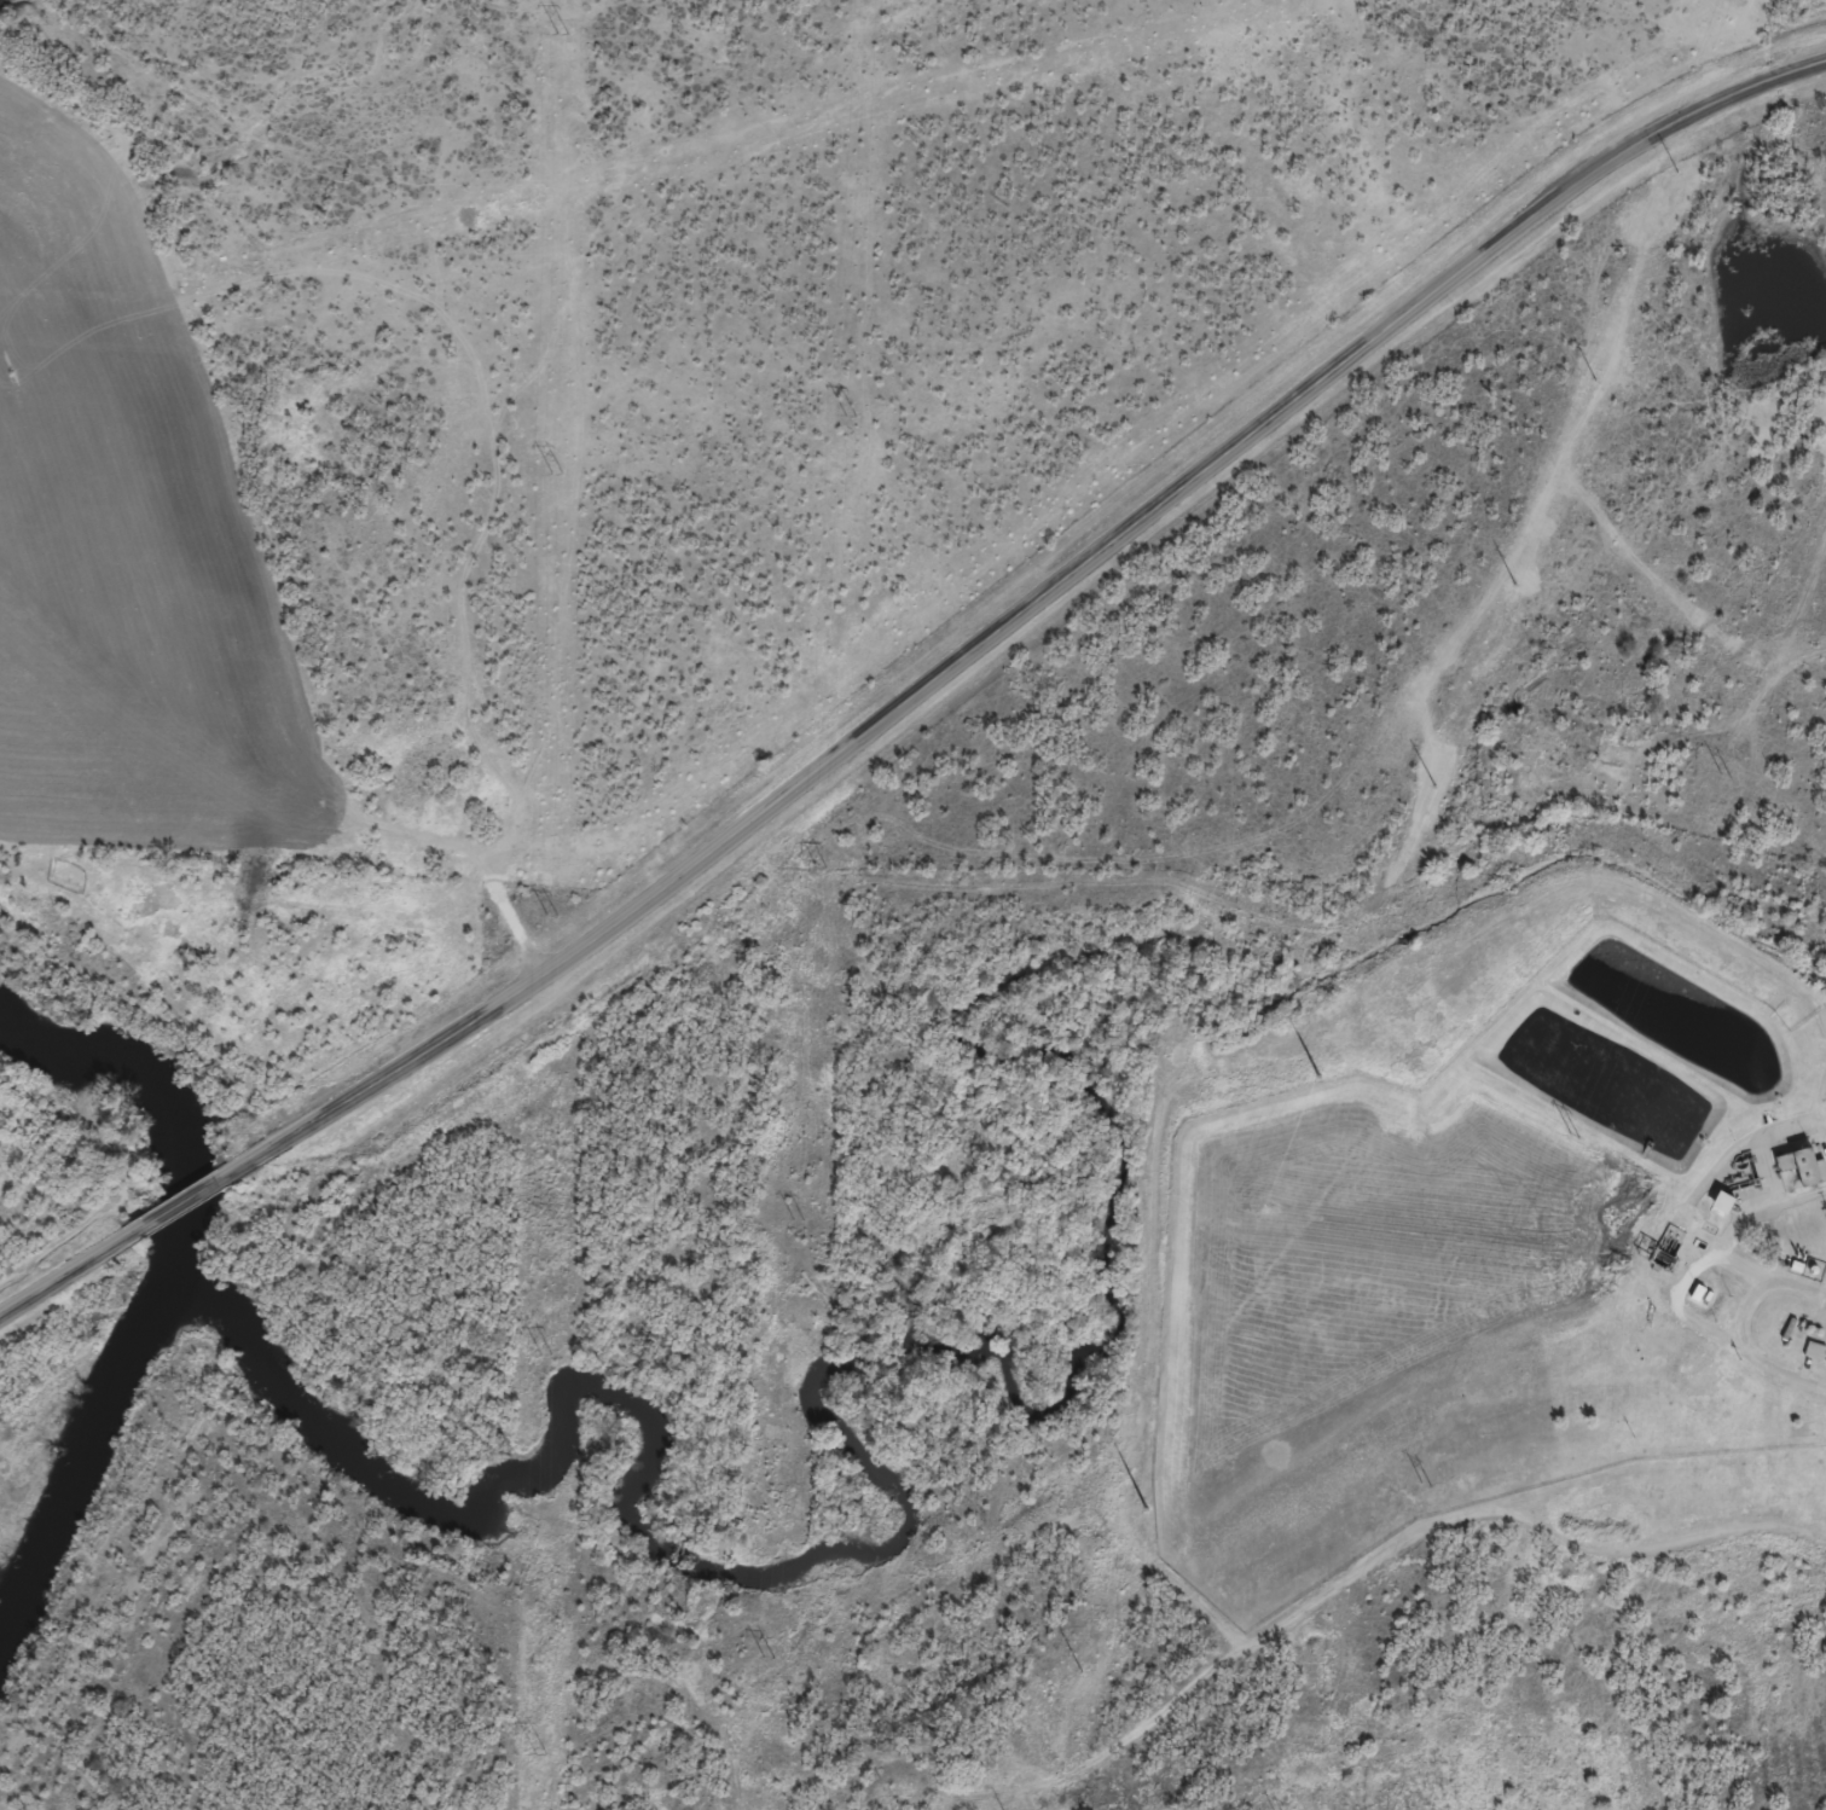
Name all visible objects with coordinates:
power tower: (561, 34)
power tower: (848, 414)
power tower: (556, 475)
road: (1022, 610)
power tower: (1723, 775)
power tower: (819, 868)
power tower: (549, 915)
power tower: (1572, 1136)
building: (1802, 1177)
road: (181, 1206)
building: (1727, 1212)
power tower: (796, 1219)
road: (1698, 1264)
road: (1770, 1272)
road: (66, 1276)
road: (1749, 1303)
power tower: (544, 1356)
building: (1815, 1361)
power tower: (1424, 1485)
power tower: (767, 1657)
power tower: (539, 1754)

